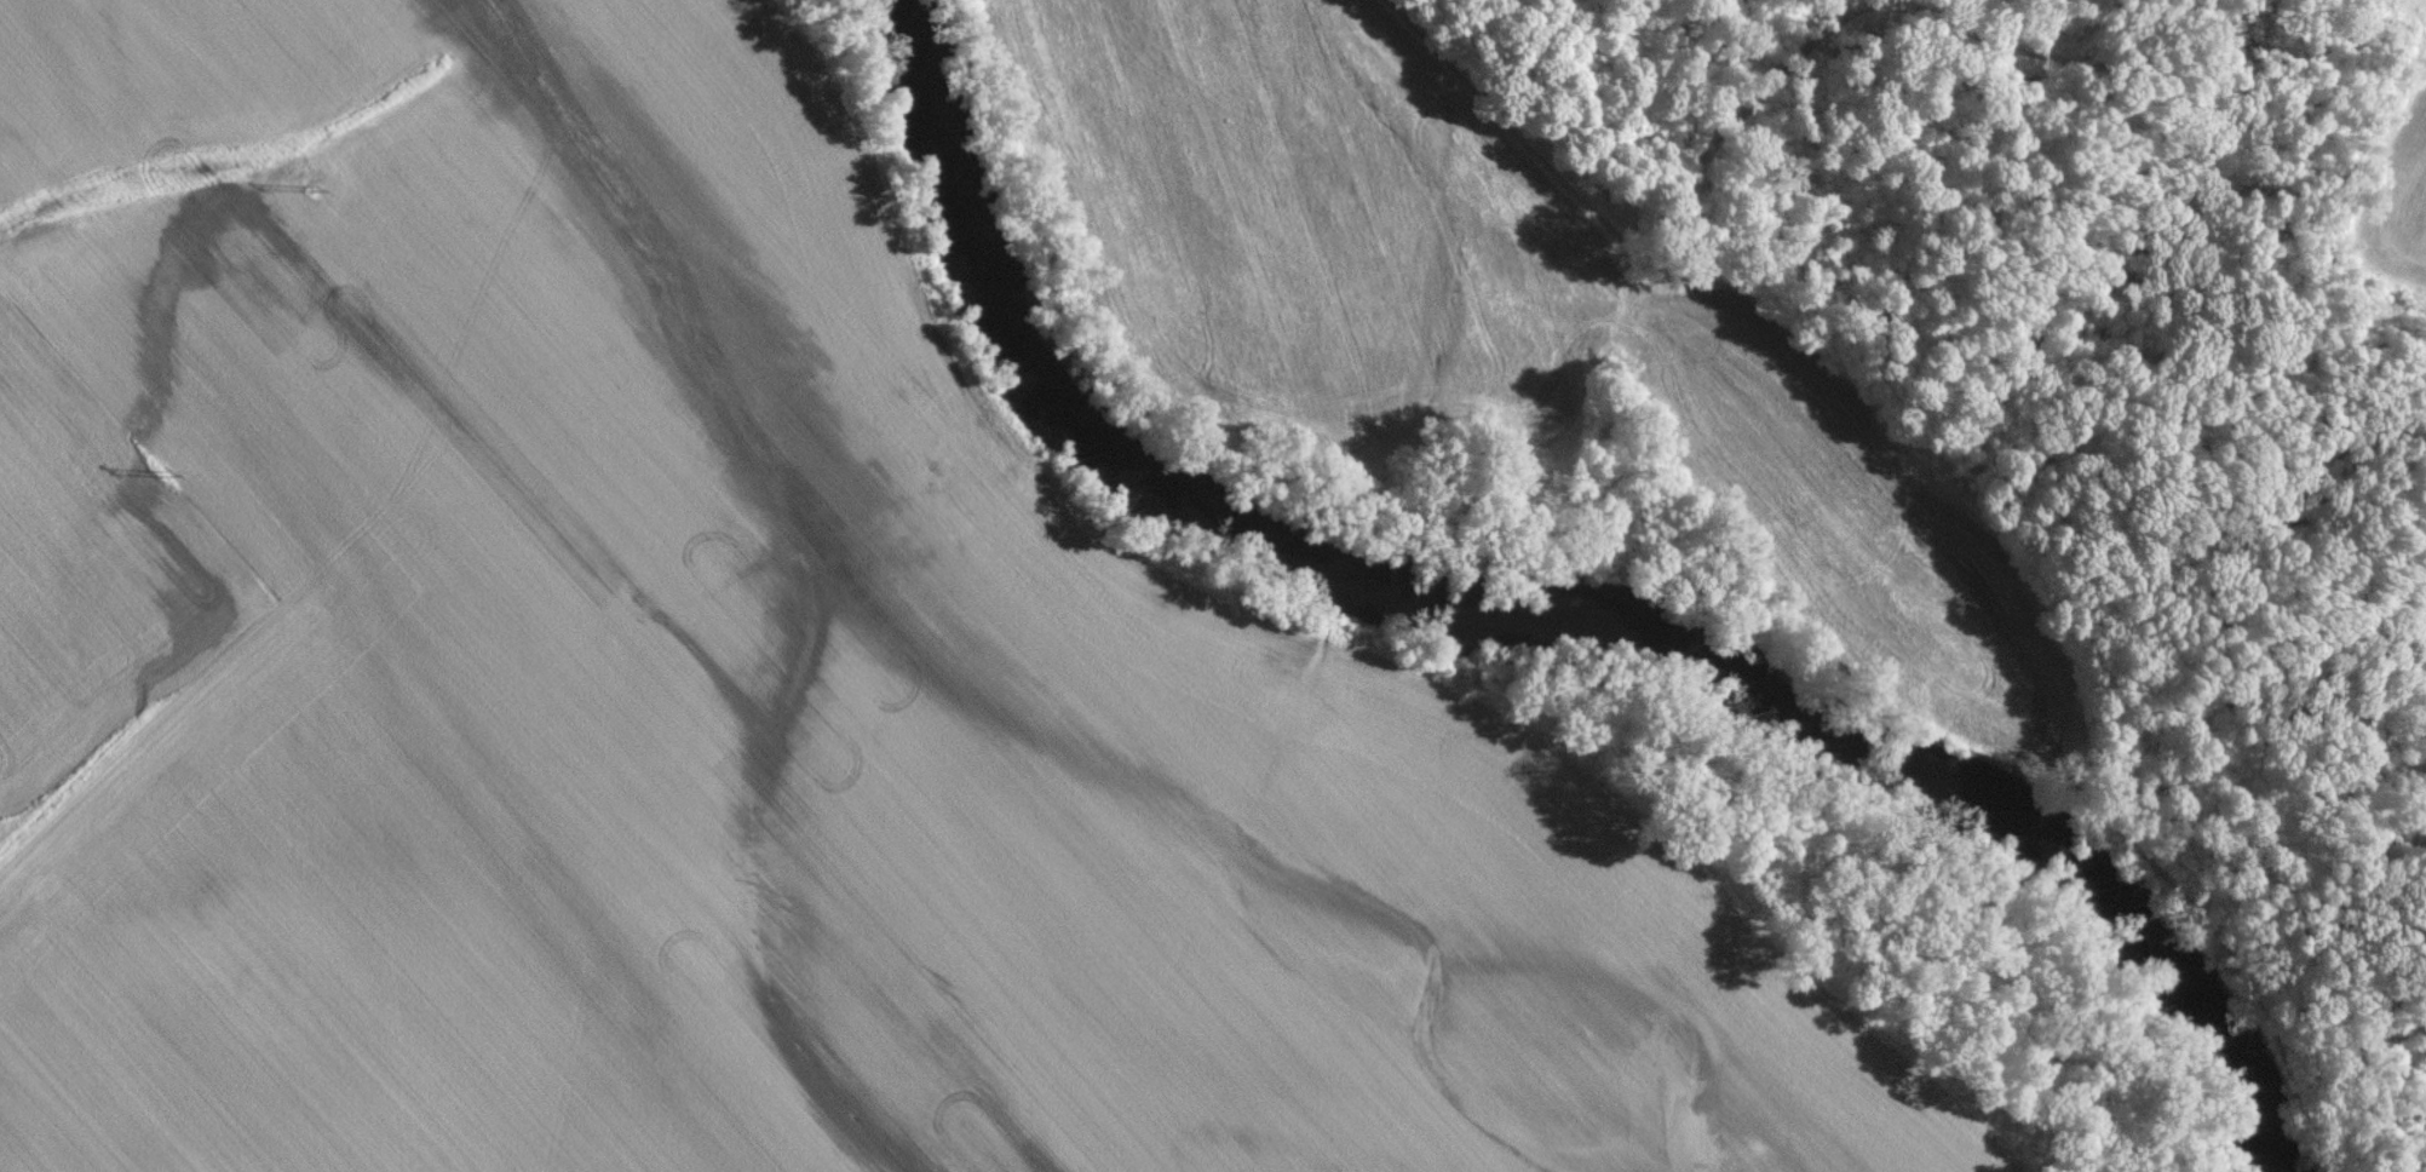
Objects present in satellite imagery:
river: (1550, 614)

